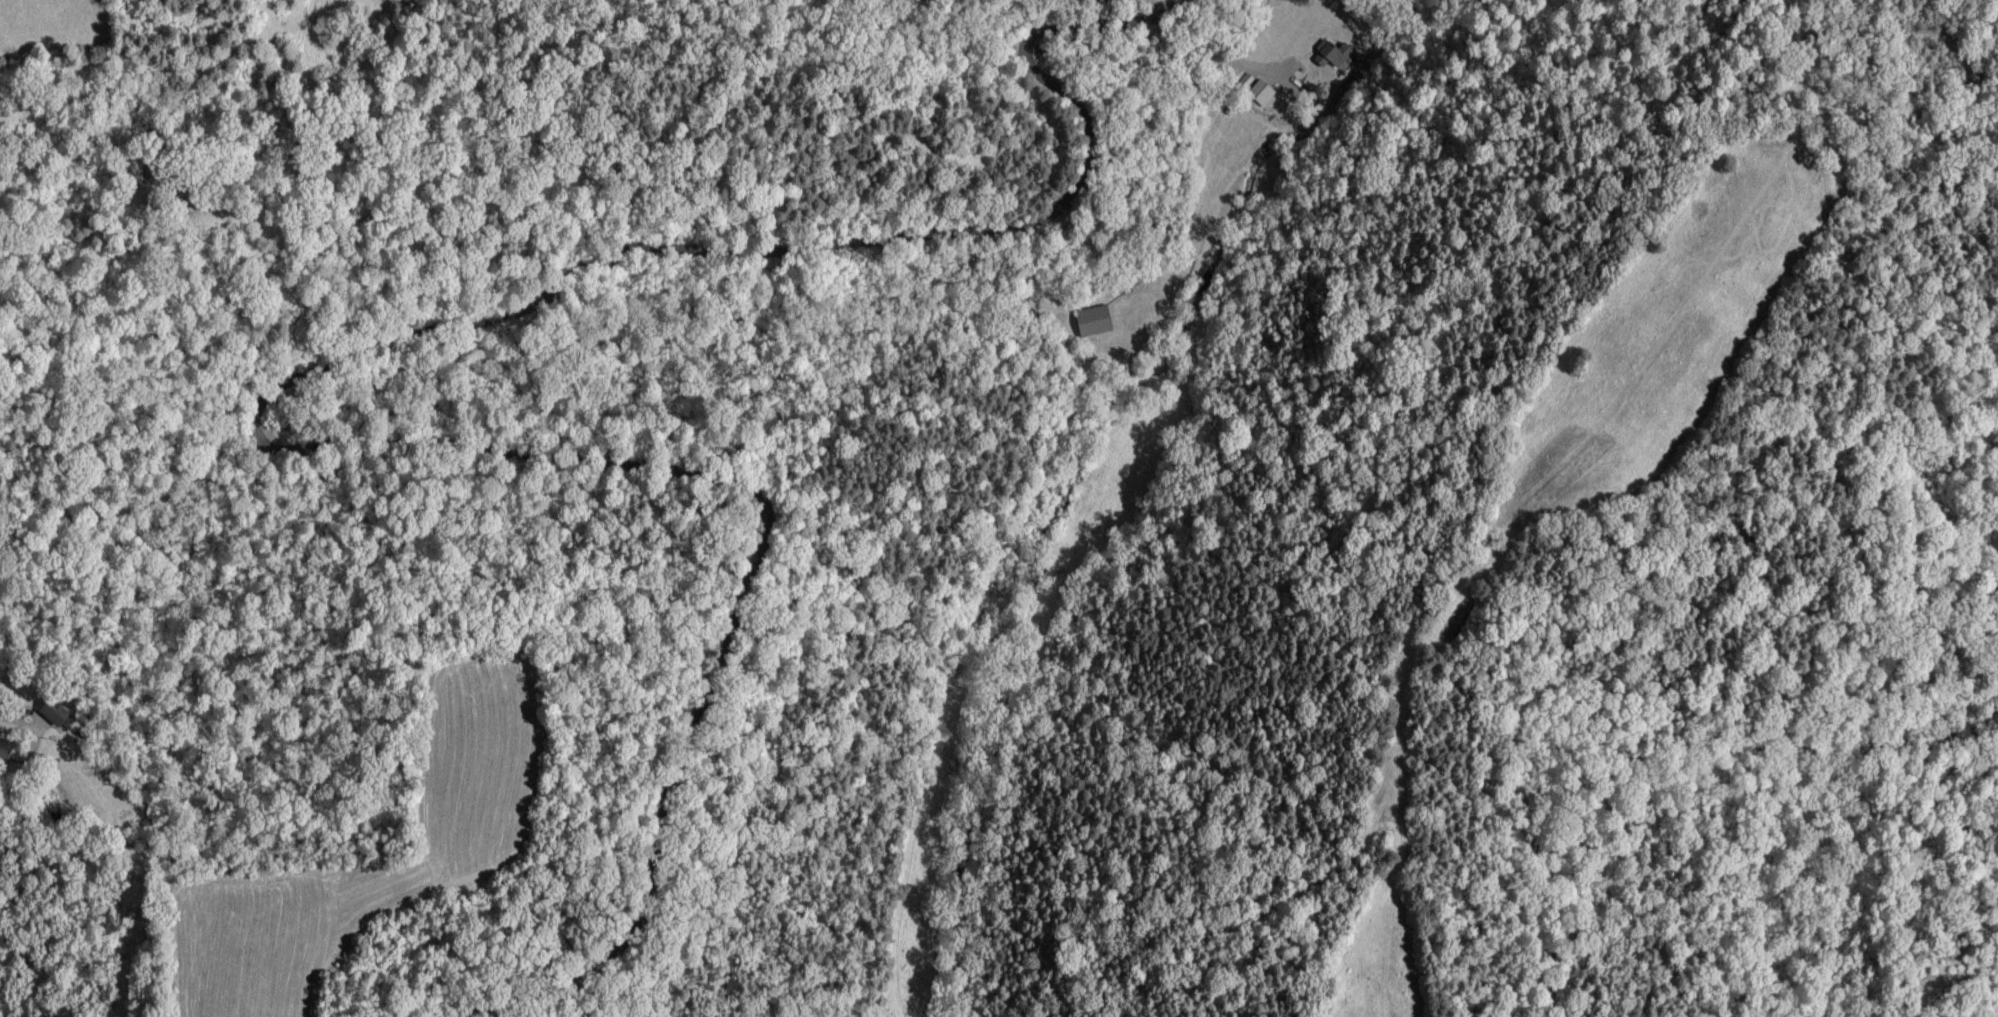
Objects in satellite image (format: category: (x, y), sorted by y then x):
road: (1253, 59)
crop: (1671, 327)
road: (283, 391)
road: (141, 503)
building: (57, 714)
road: (17, 720)
crop: (1389, 899)

